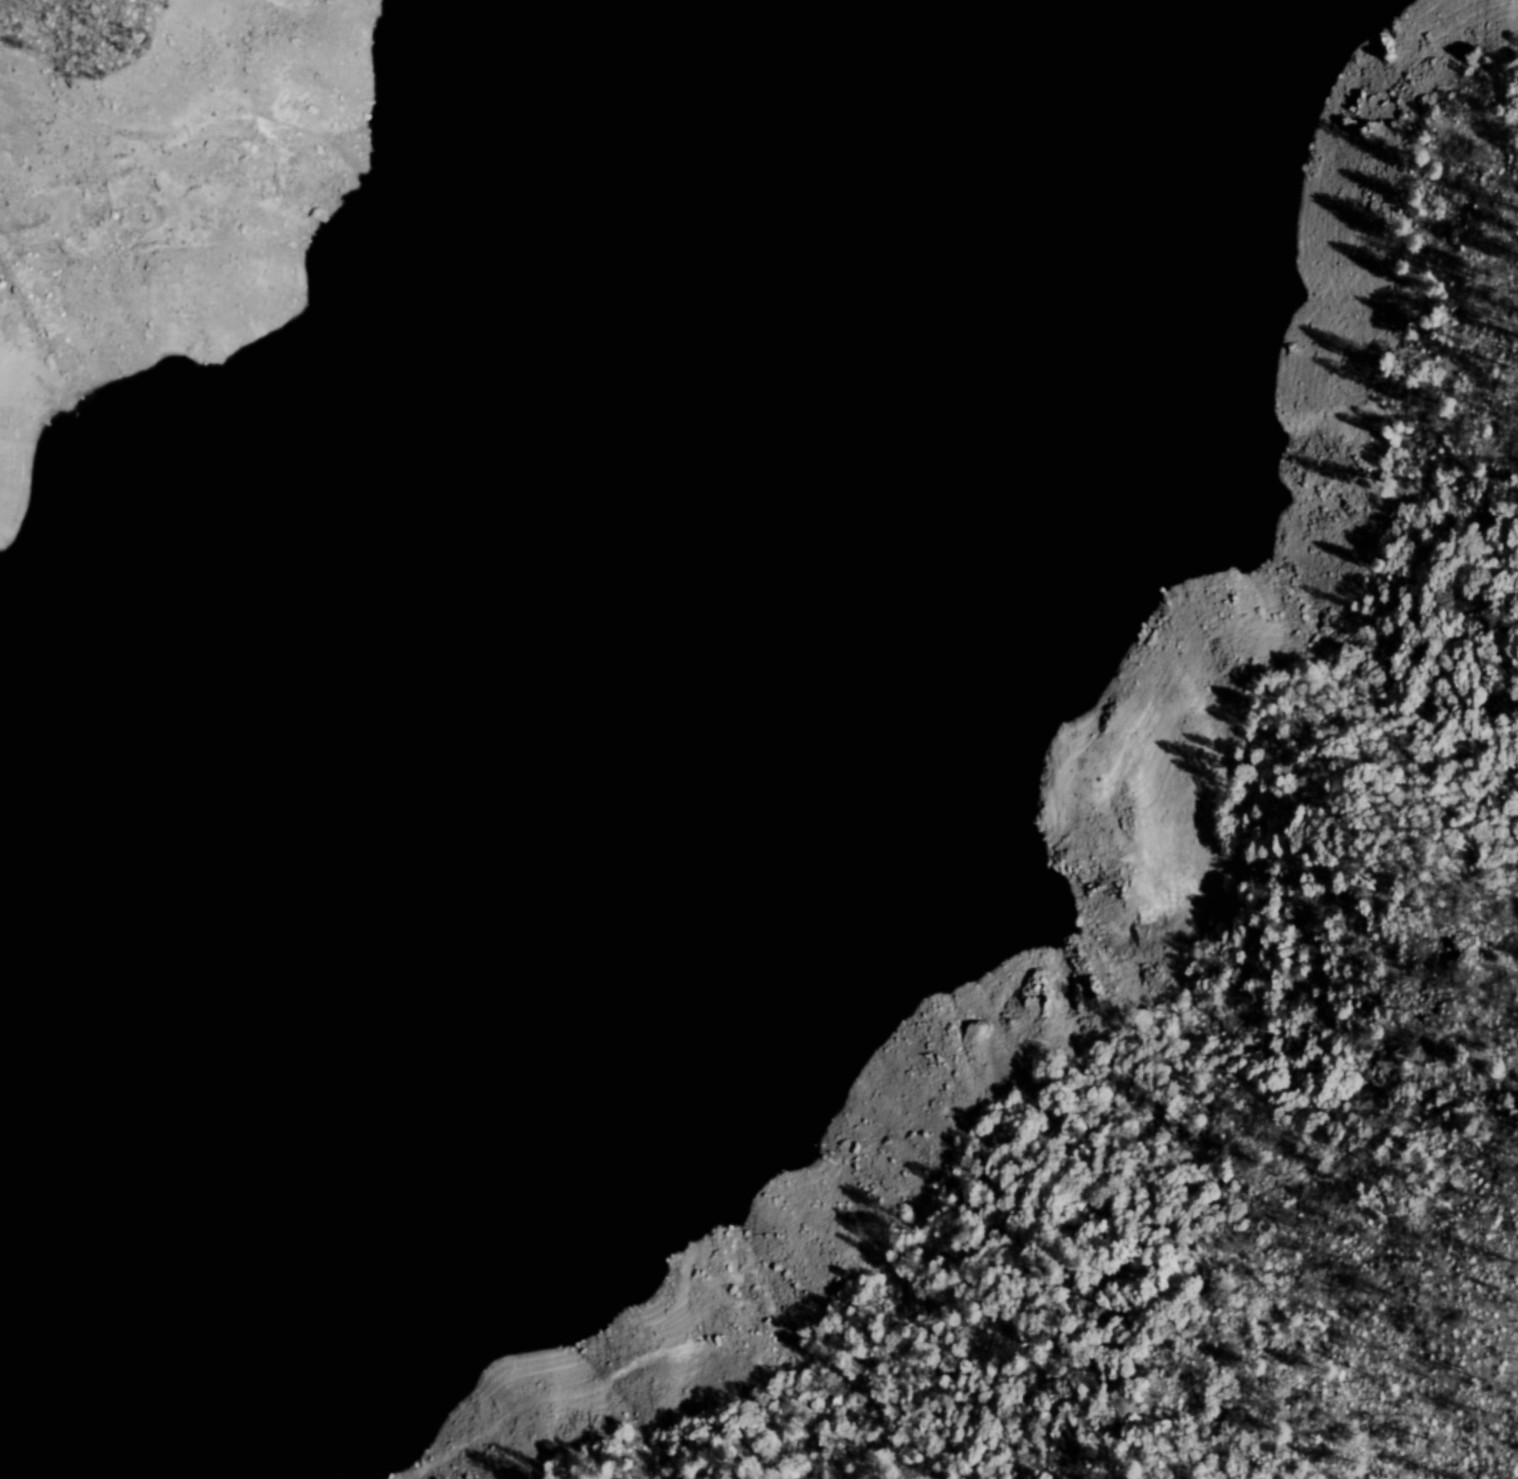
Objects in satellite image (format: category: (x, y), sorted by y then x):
river: (601, 243)
river: (237, 941)

